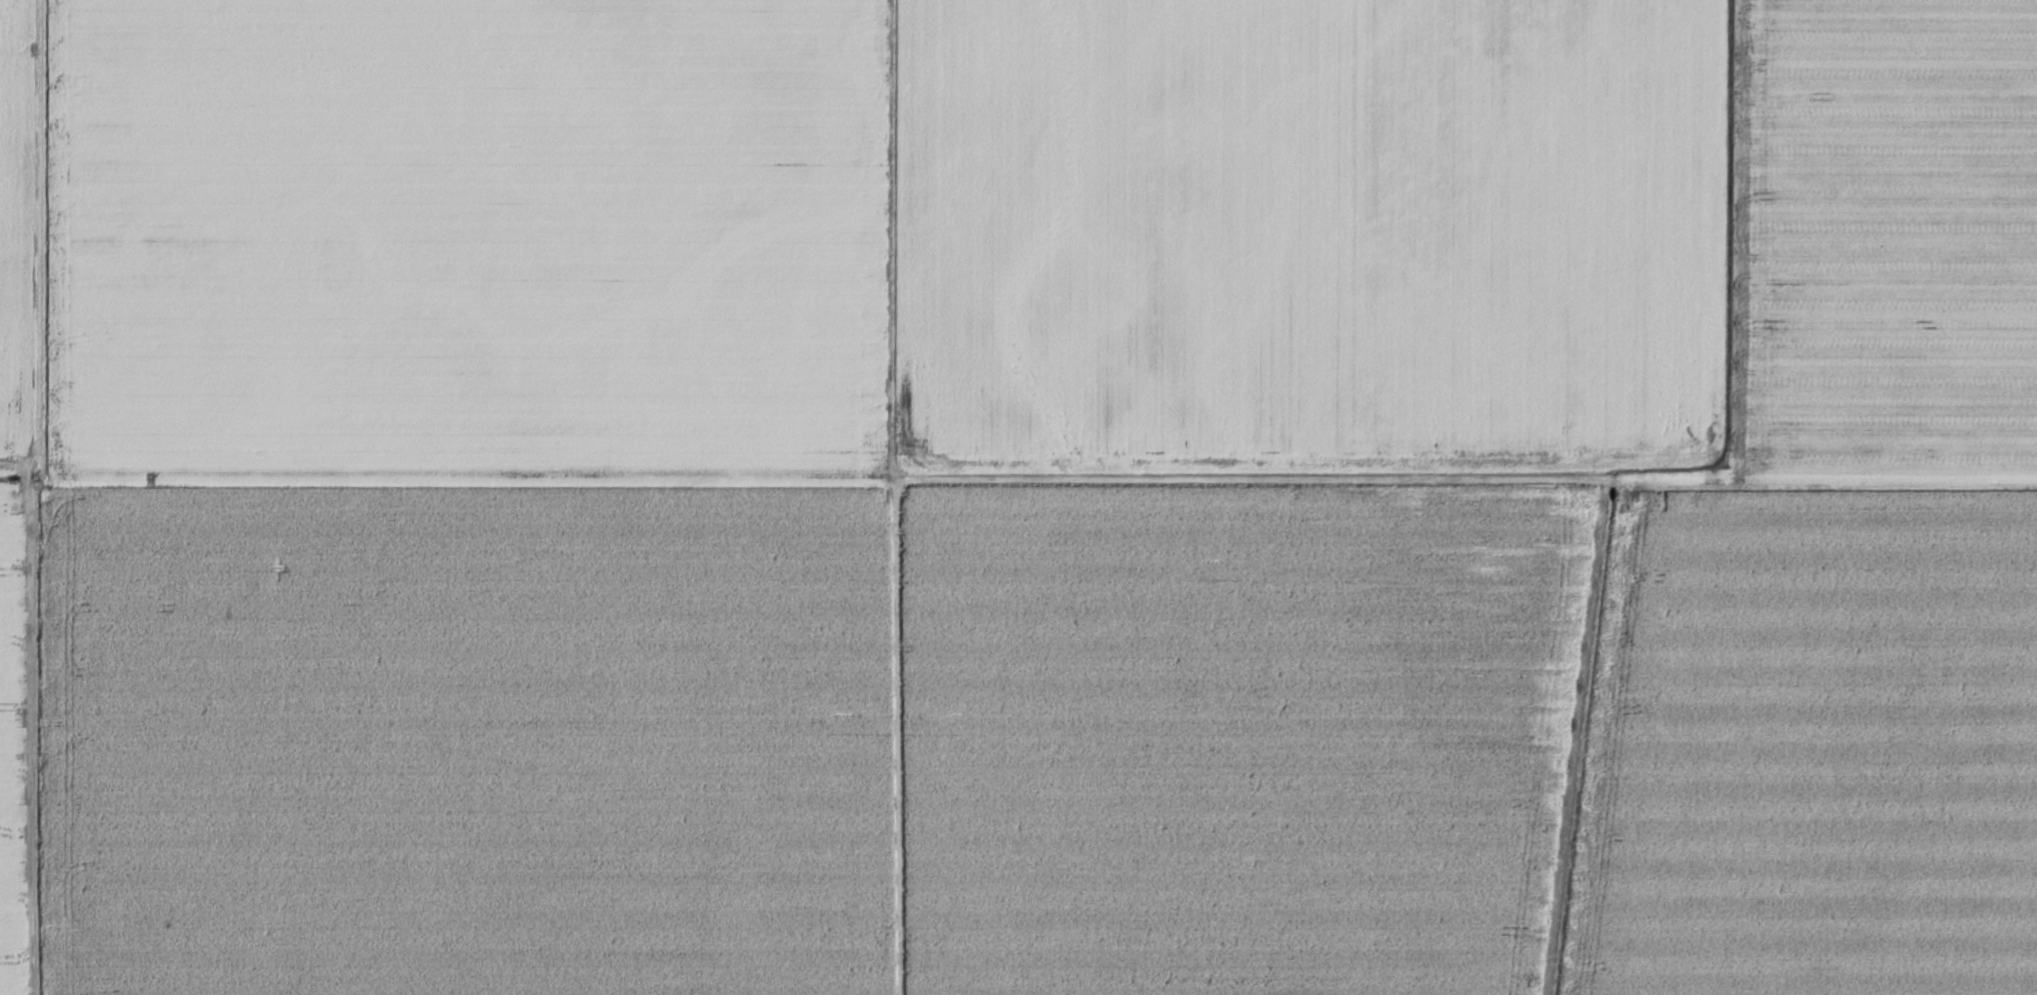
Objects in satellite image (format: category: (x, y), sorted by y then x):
road: (1247, 476)

